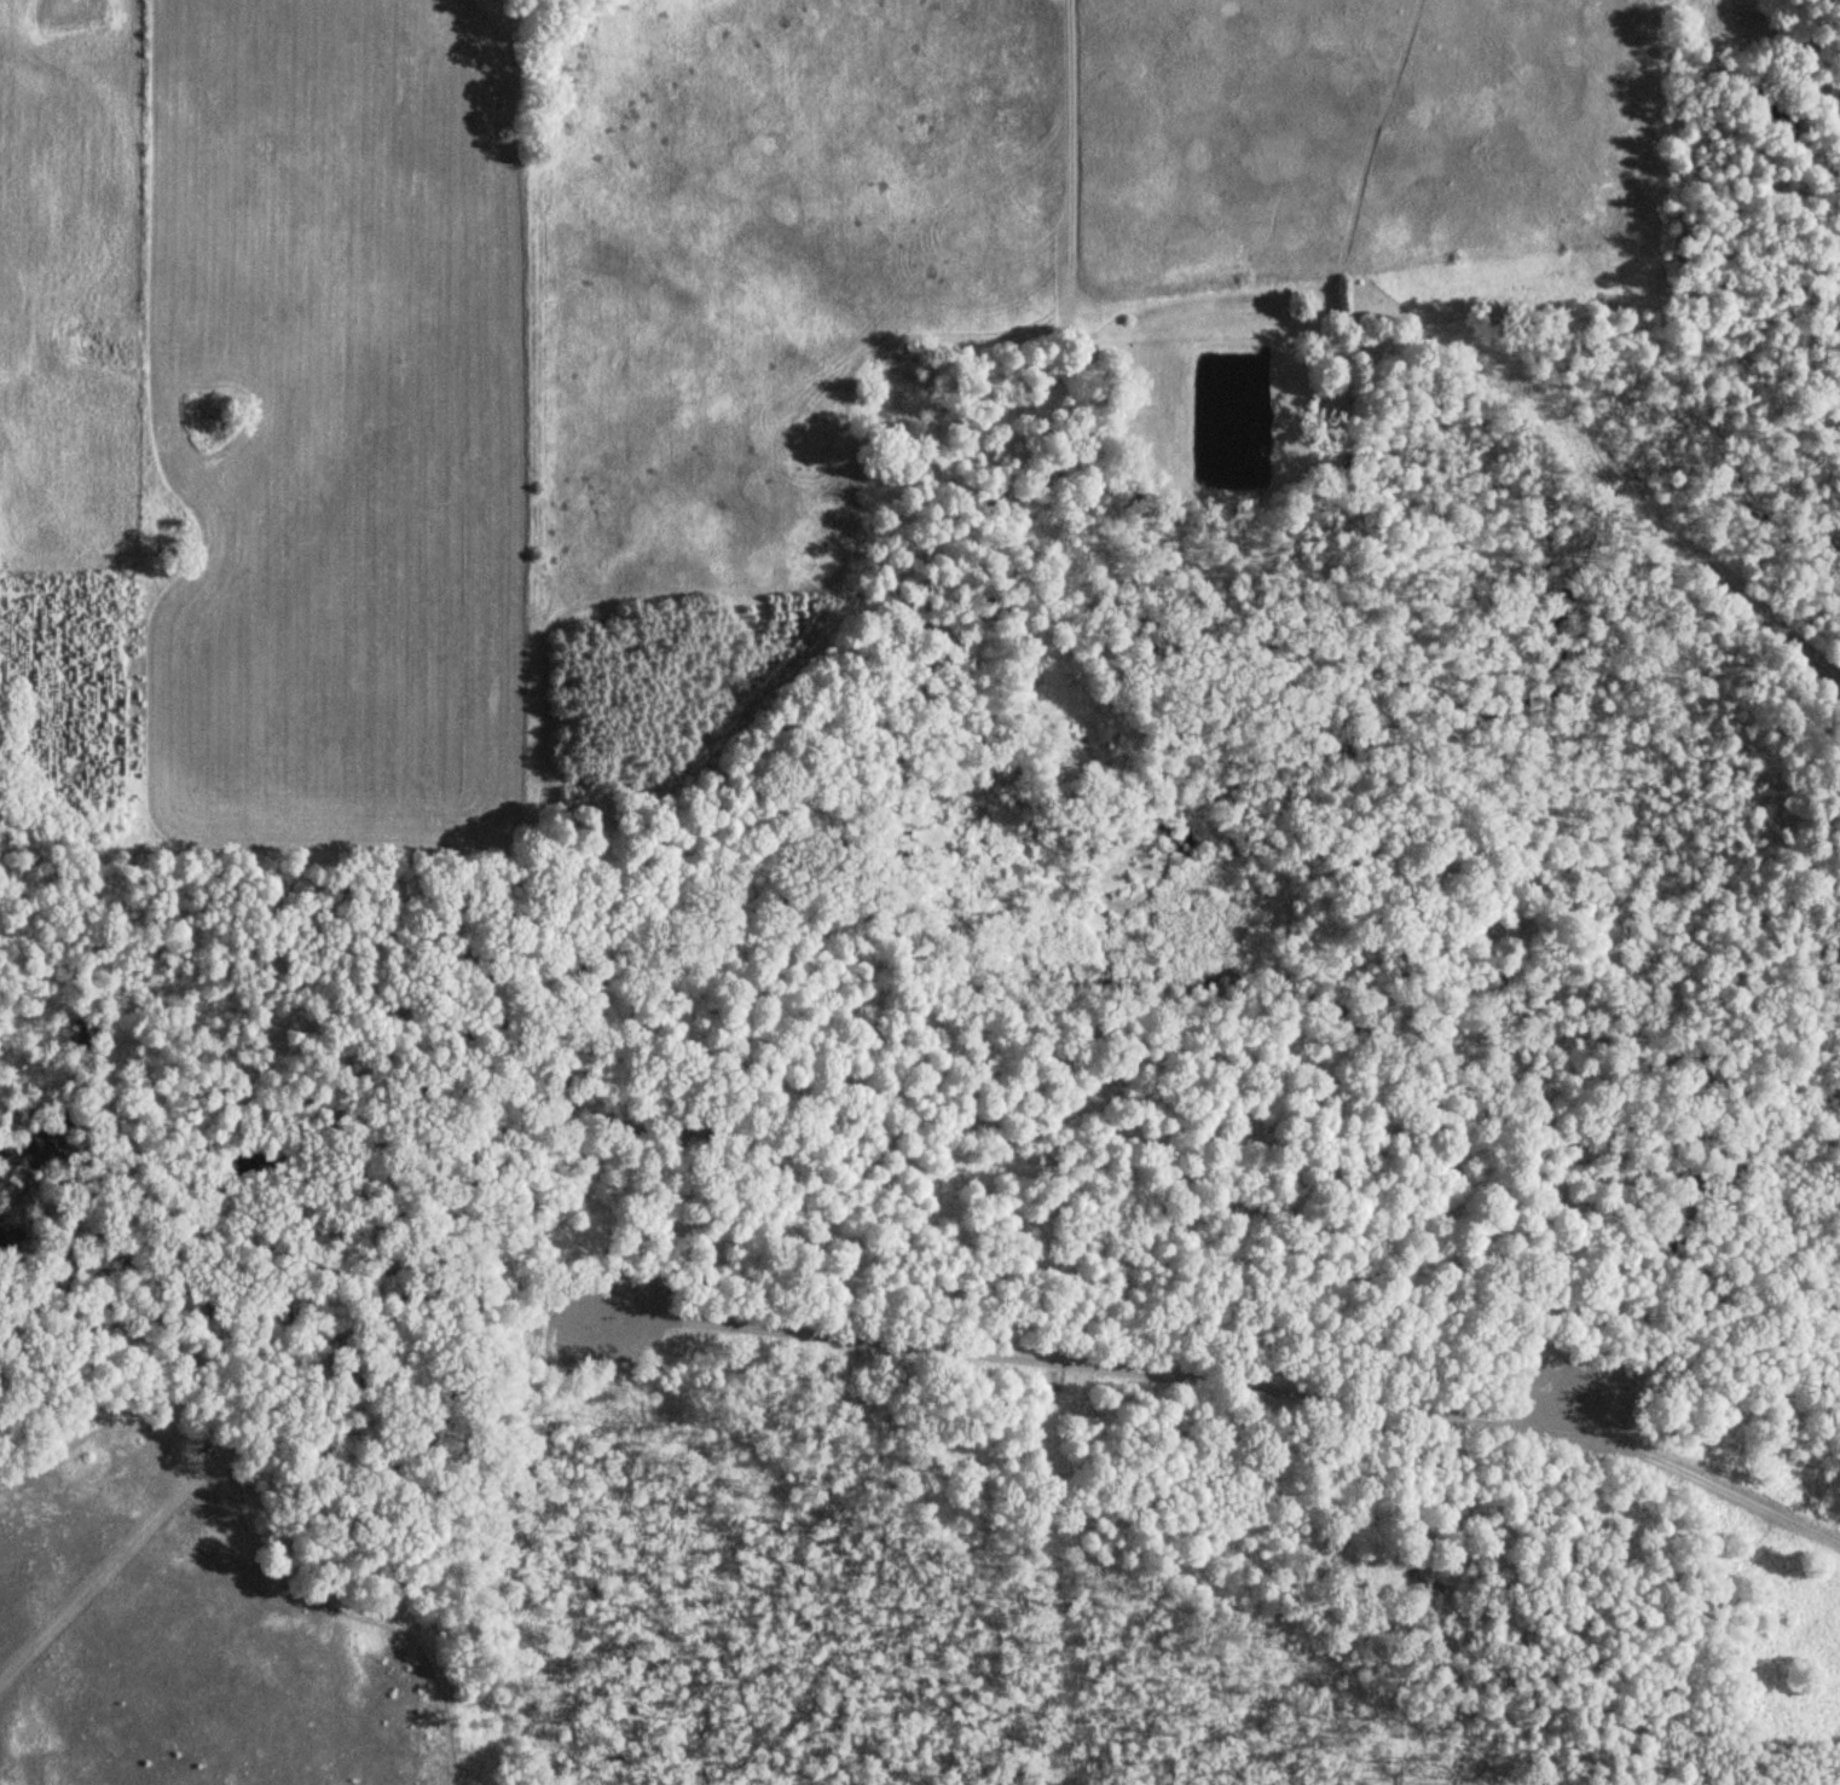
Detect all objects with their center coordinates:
road: (1266, 1391)

